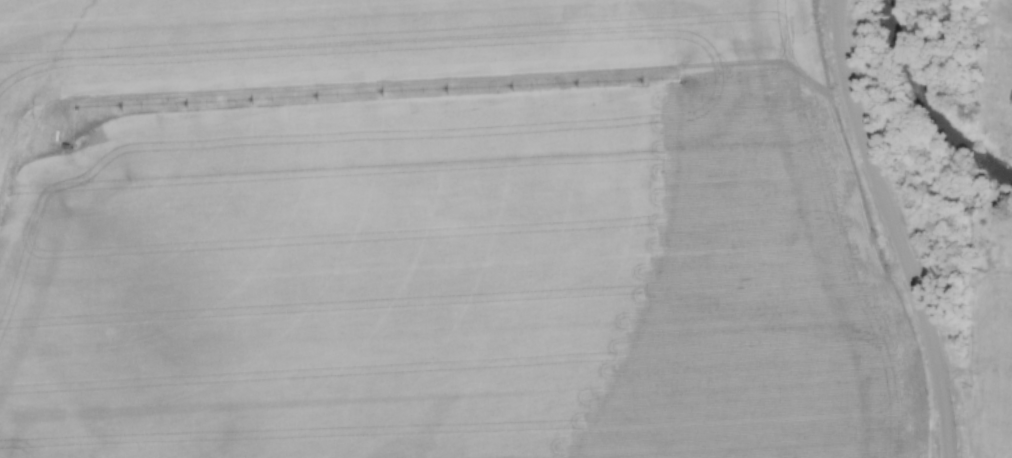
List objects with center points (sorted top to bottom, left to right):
road: (893, 228)

